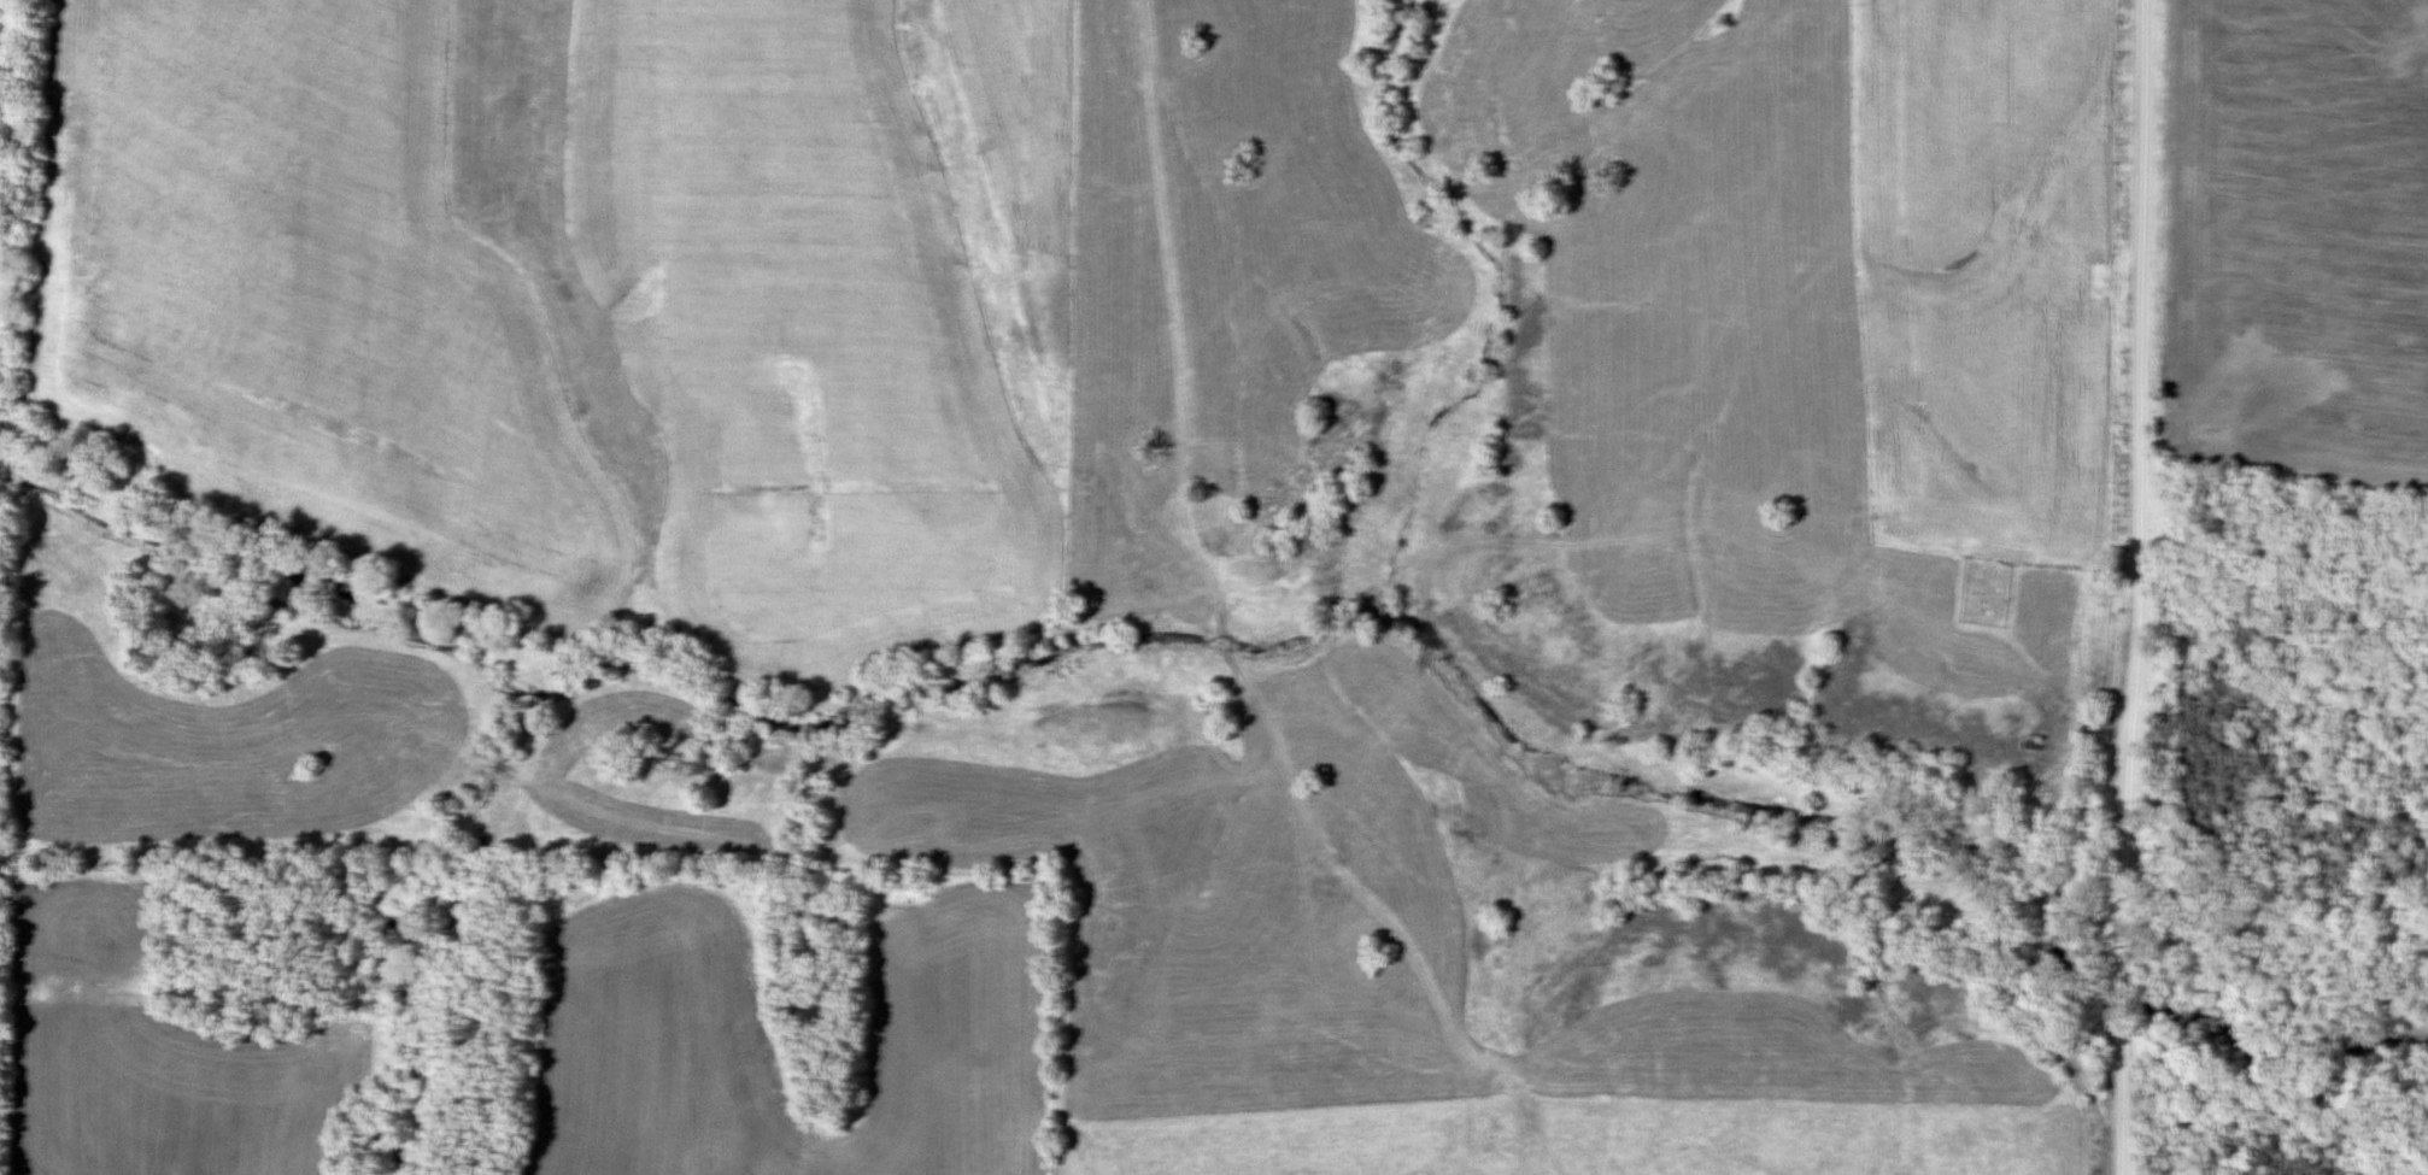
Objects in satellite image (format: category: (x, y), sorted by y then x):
road: (2145, 587)
park: (1988, 589)

